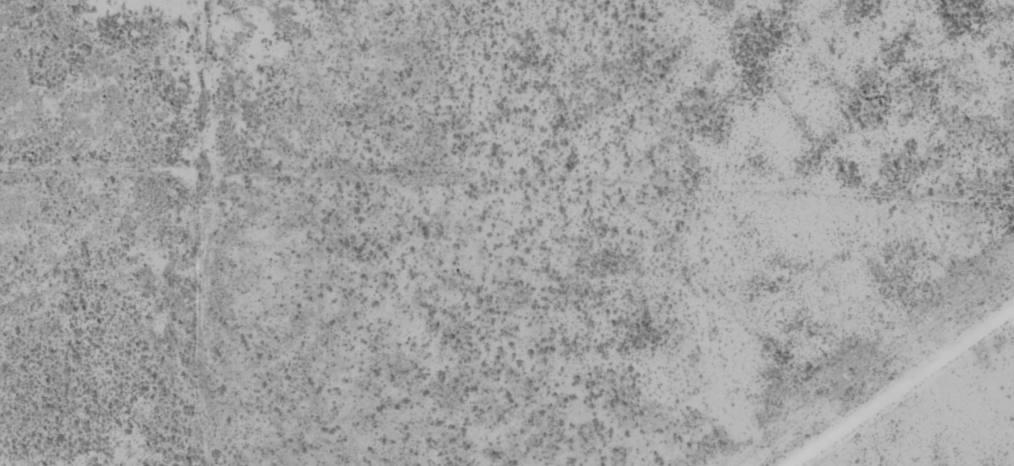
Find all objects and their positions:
road: (899, 385)

